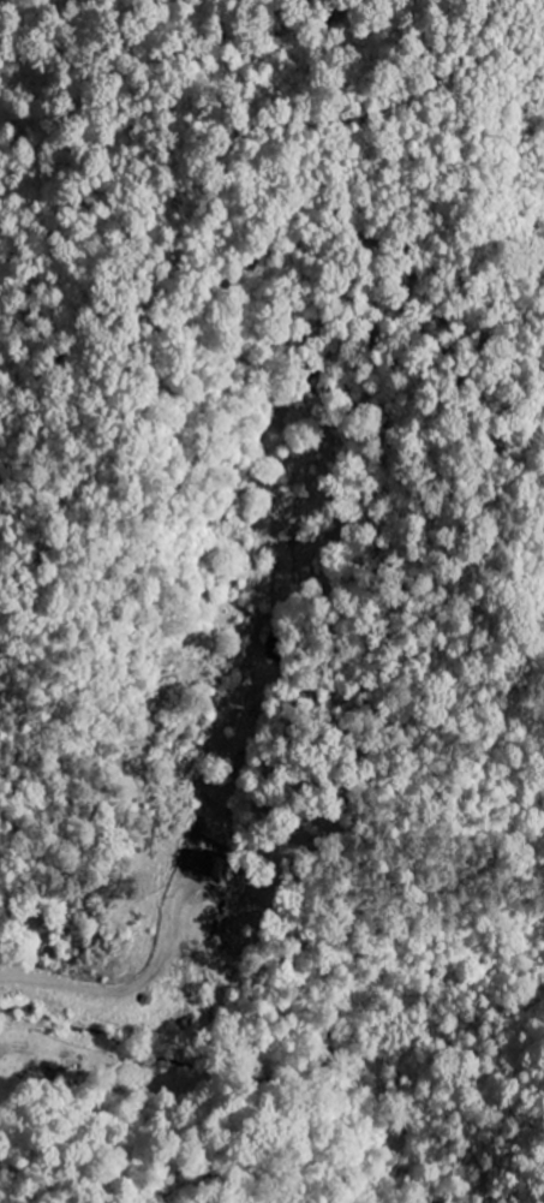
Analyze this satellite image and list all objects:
building: (205, 865)

